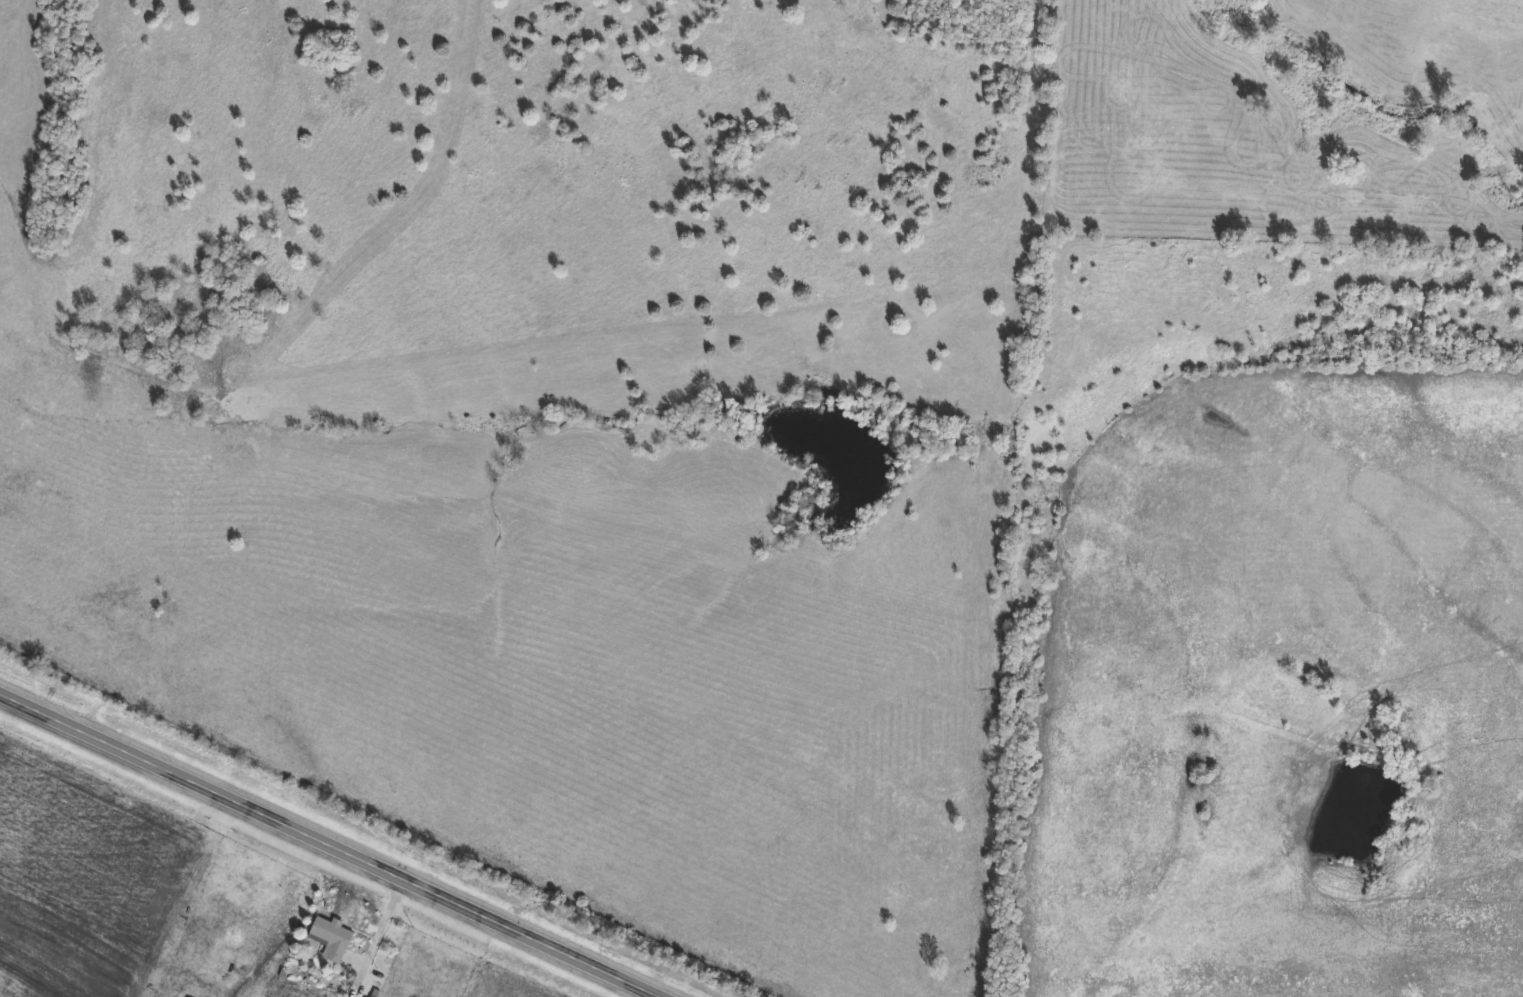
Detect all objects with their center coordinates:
railway: (356, 832)
road: (334, 843)
road: (387, 922)
building: (334, 939)

